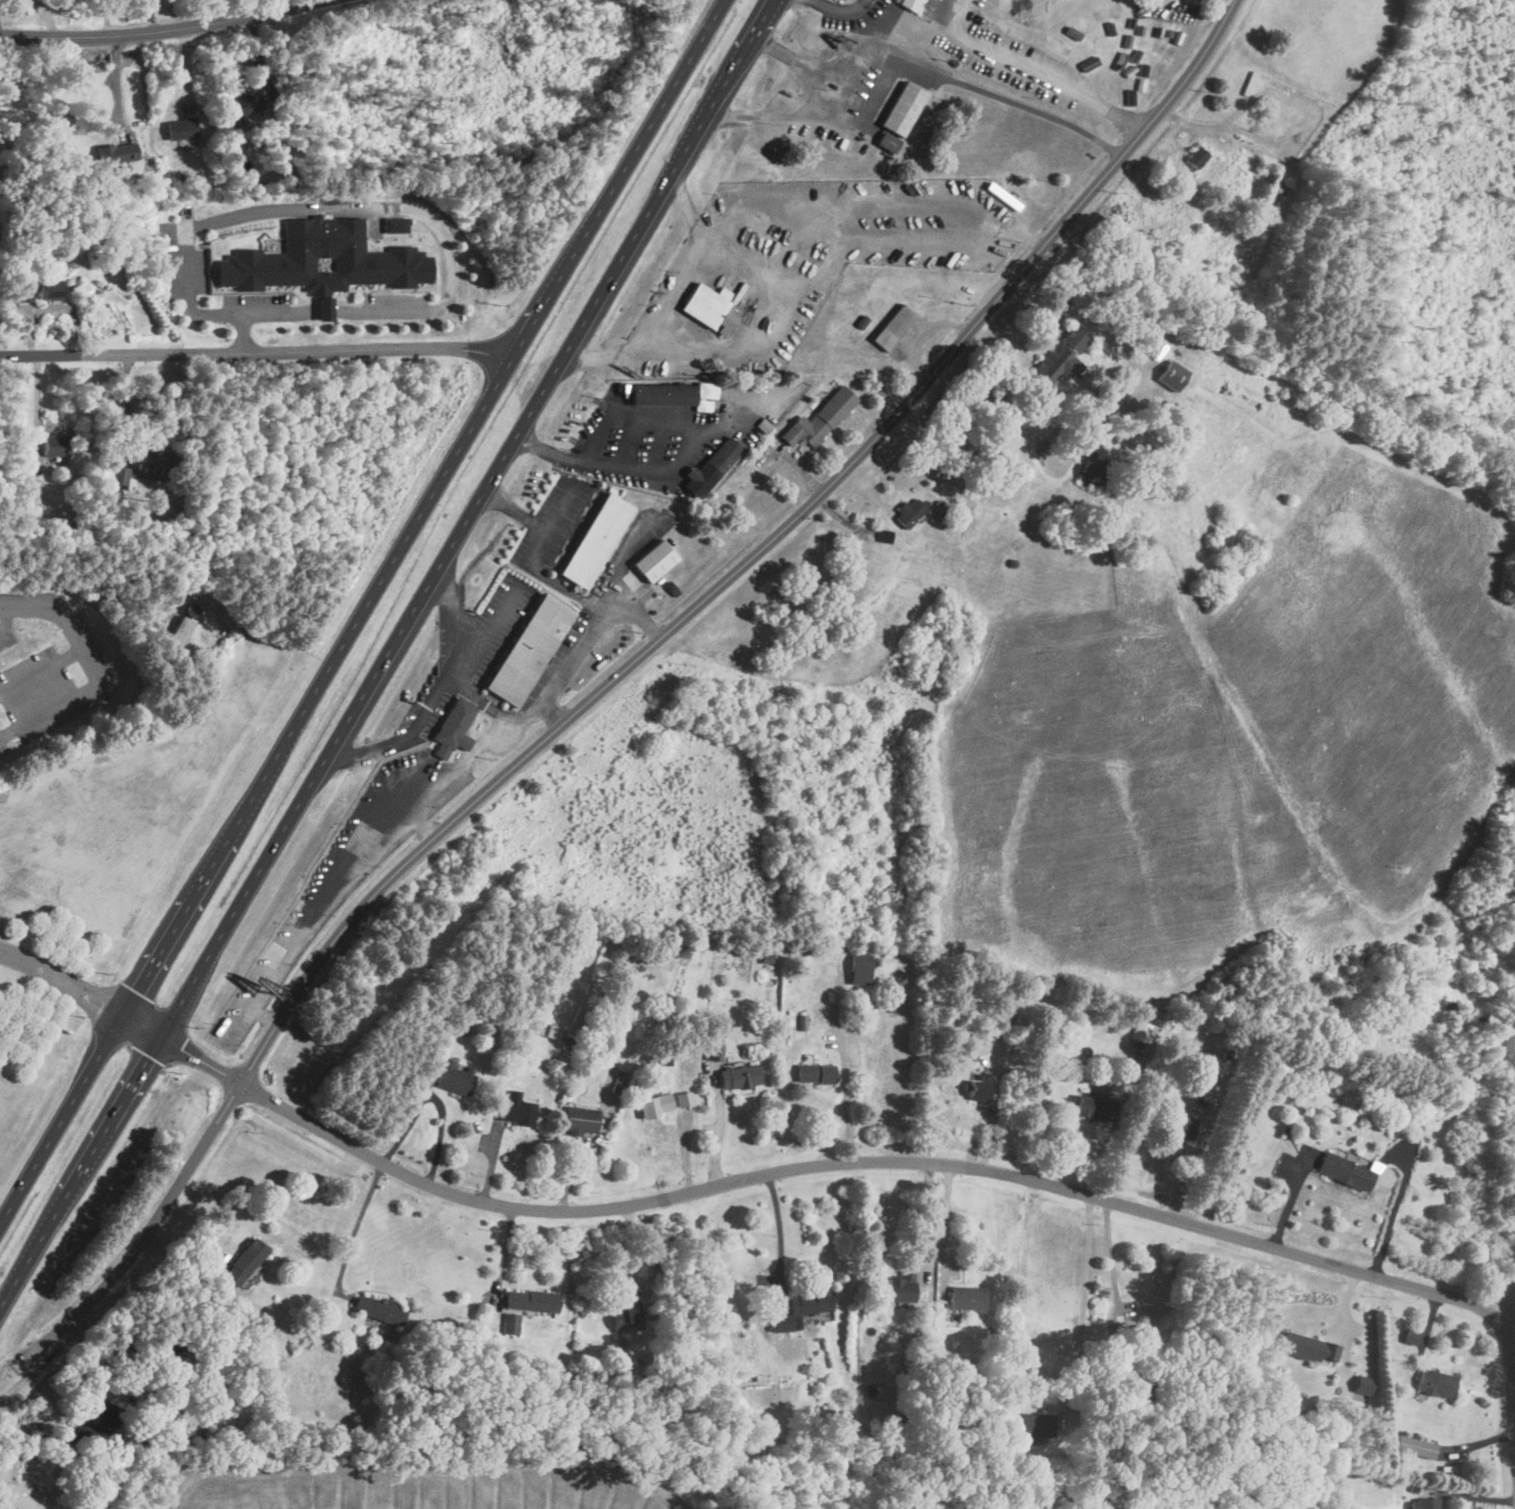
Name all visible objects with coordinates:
building: (909, 4)
road: (254, 7)
building: (981, 7)
road: (843, 8)
road: (158, 30)
road: (786, 53)
road: (906, 61)
road: (1035, 69)
building: (245, 104)
building: (897, 116)
building: (180, 128)
building: (116, 153)
building: (1195, 157)
building: (1271, 196)
road: (328, 206)
building: (939, 227)
building: (869, 246)
building: (48, 290)
road: (673, 299)
building: (704, 303)
road: (326, 309)
road: (279, 313)
building: (892, 327)
road: (255, 352)
building: (1062, 356)
building: (1171, 376)
building: (672, 394)
road: (128, 406)
building: (817, 421)
building: (52, 445)
road: (618, 462)
building: (150, 463)
building: (709, 467)
building: (1090, 470)
building: (117, 477)
building: (909, 513)
building: (599, 539)
road: (537, 553)
building: (653, 561)
road: (361, 610)
road: (4, 617)
building: (183, 625)
road: (487, 632)
road: (588, 639)
road: (78, 641)
building: (532, 649)
road: (386, 654)
road: (614, 675)
road: (444, 689)
road: (66, 700)
road: (499, 710)
building: (452, 728)
road: (422, 823)
road: (364, 857)
building: (294, 919)
building: (282, 939)
building: (859, 962)
traffic signals: (138, 991)
traffic signals: (101, 1004)
building: (1450, 1009)
building: (249, 1013)
building: (1140, 1031)
traffic signals: (180, 1048)
building: (713, 1050)
traffic signals: (151, 1056)
building: (816, 1072)
building: (453, 1075)
building: (738, 1075)
building: (977, 1089)
road: (436, 1097)
road: (847, 1101)
building: (655, 1103)
building: (1093, 1107)
building: (514, 1108)
building: (577, 1118)
building: (1179, 1126)
road: (717, 1127)
road: (684, 1140)
road: (775, 1168)
building: (1344, 1170)
road: (930, 1210)
road: (776, 1218)
road: (357, 1224)
building: (244, 1261)
road: (1114, 1271)
building: (898, 1287)
building: (965, 1297)
building: (530, 1300)
road: (1084, 1301)
building: (801, 1306)
building: (378, 1308)
building: (623, 1315)
building: (509, 1324)
building: (171, 1344)
building: (1310, 1347)
building: (1435, 1382)
road: (1514, 1382)
building: (95, 1420)
building: (1035, 1424)
building: (1414, 1445)
road: (1469, 1489)
building: (1426, 1503)

